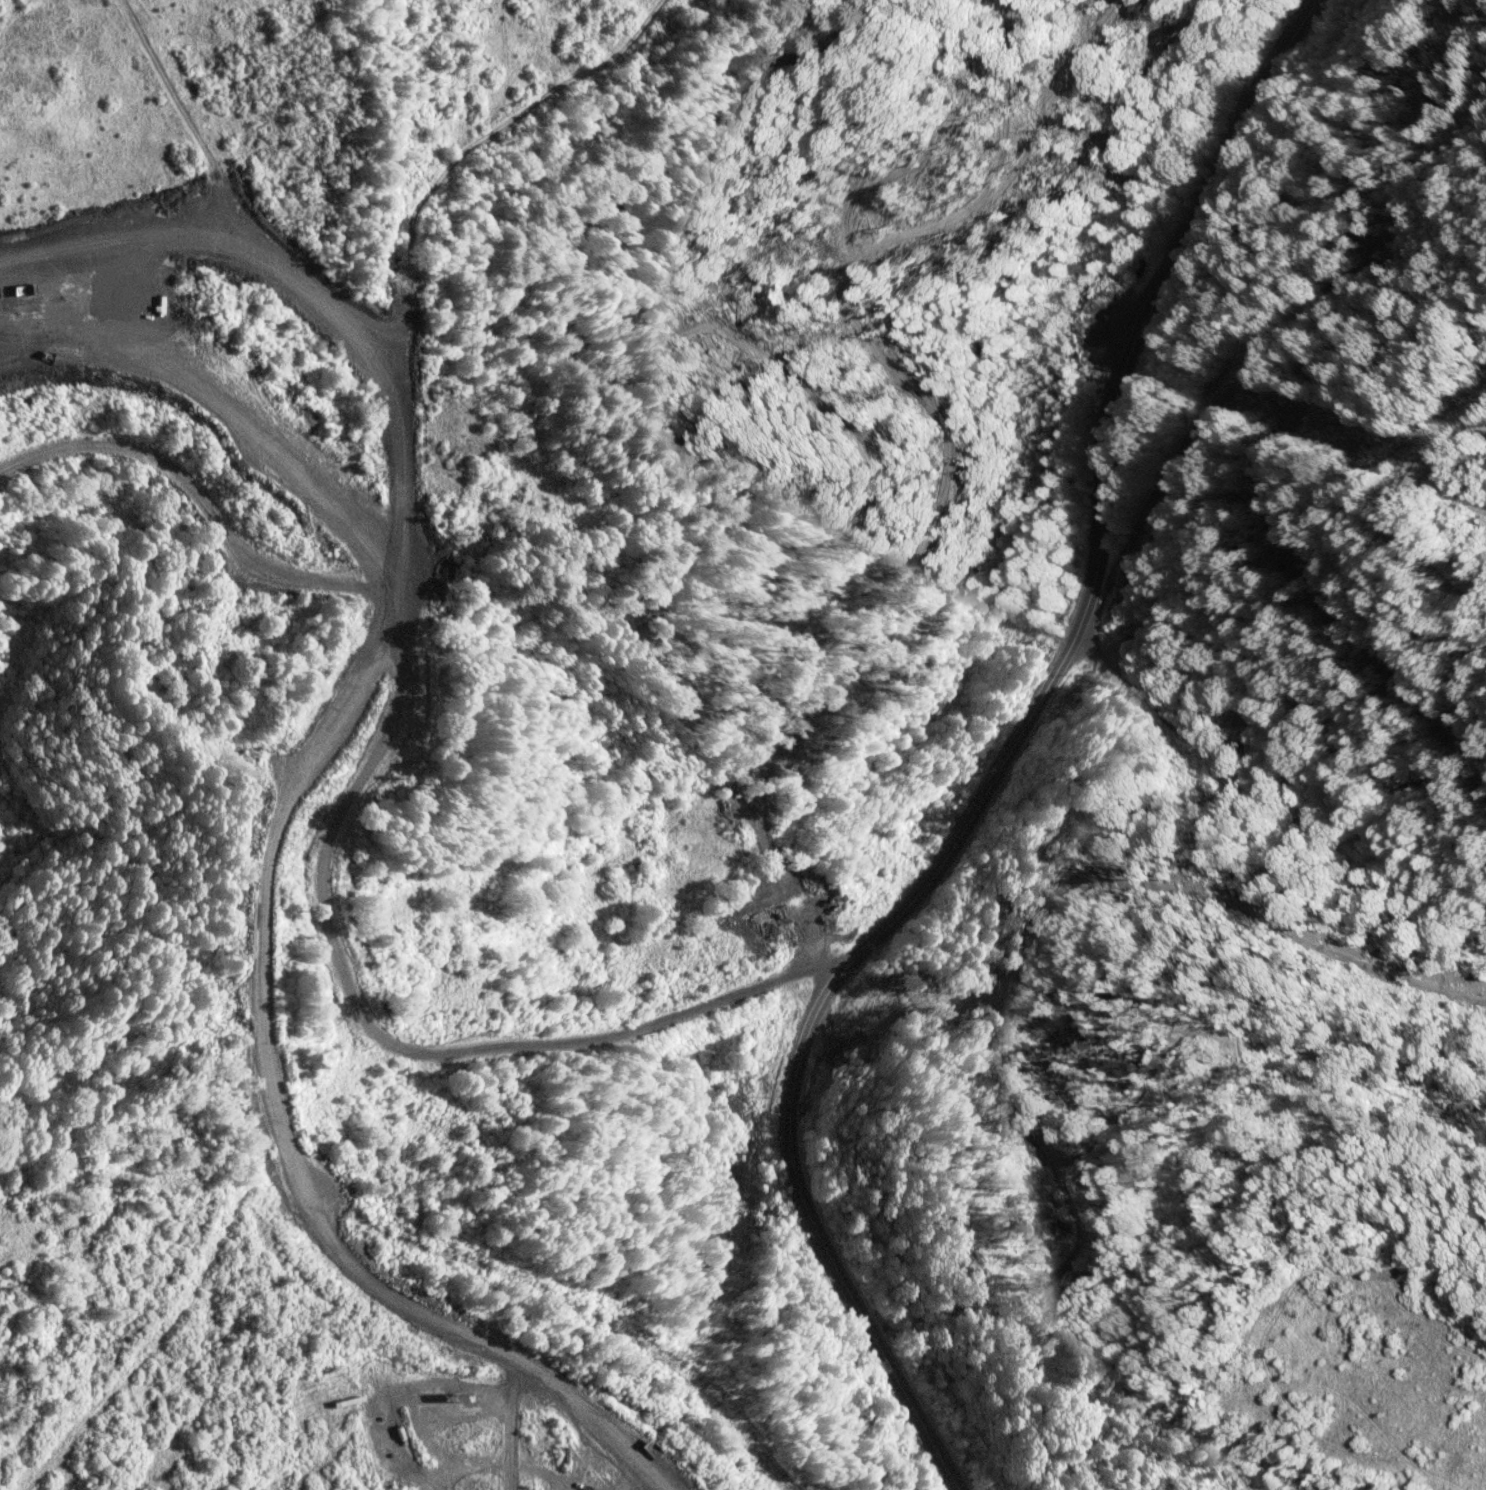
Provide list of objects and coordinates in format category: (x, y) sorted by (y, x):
quarry: (324, 664)
road: (1004, 759)

